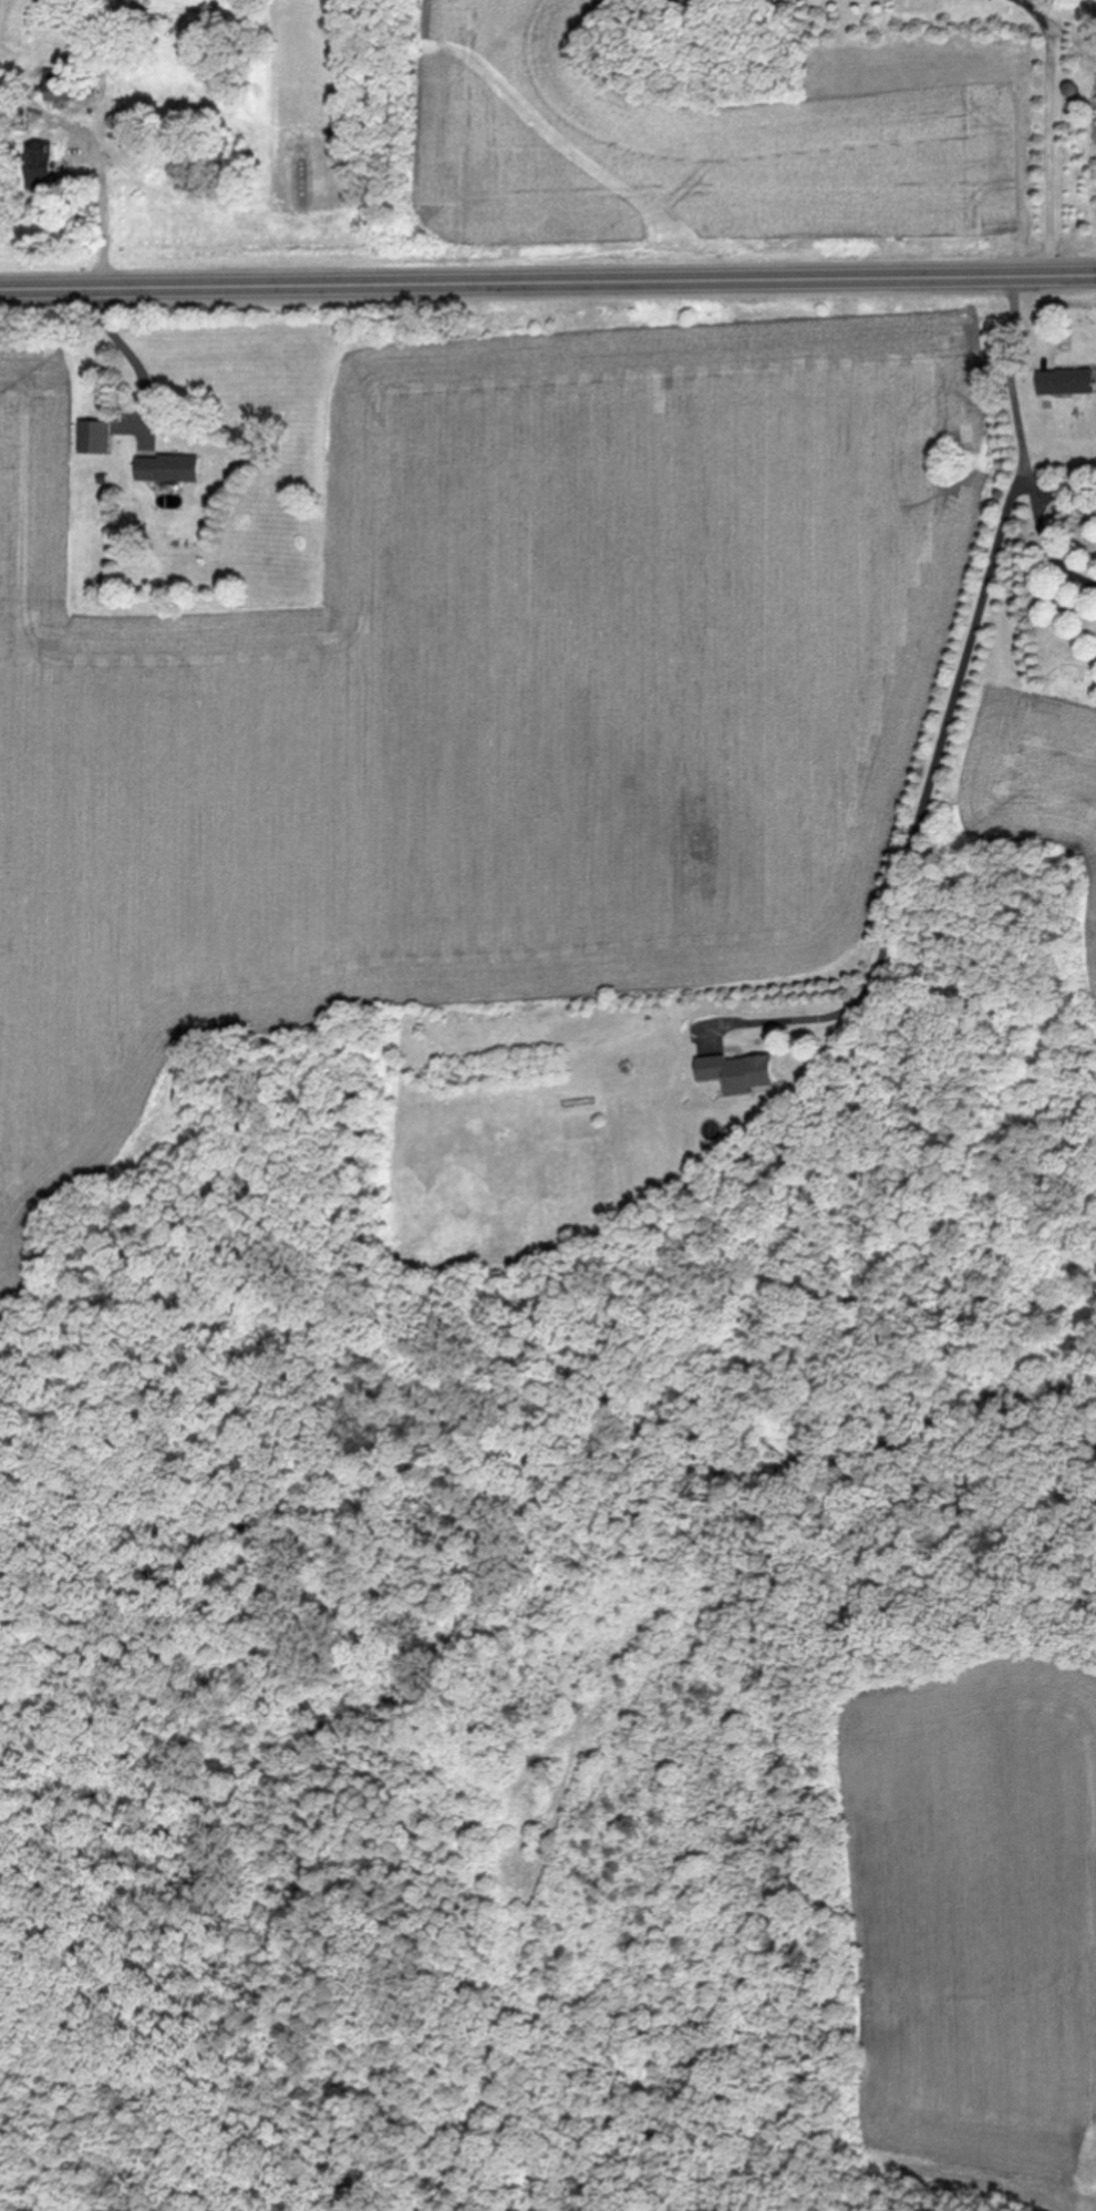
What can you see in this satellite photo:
building: (63, 17)
building: (58, 85)
building: (116, 122)
road: (1048, 131)
building: (41, 167)
building: (187, 173)
road: (103, 212)
road: (548, 281)
road: (128, 353)
building: (1067, 381)
building: (96, 438)
building: (169, 469)
road: (1054, 485)
road: (1045, 528)
crop: (480, 682)
road: (950, 706)
building: (738, 1071)
crop: (962, 1919)

